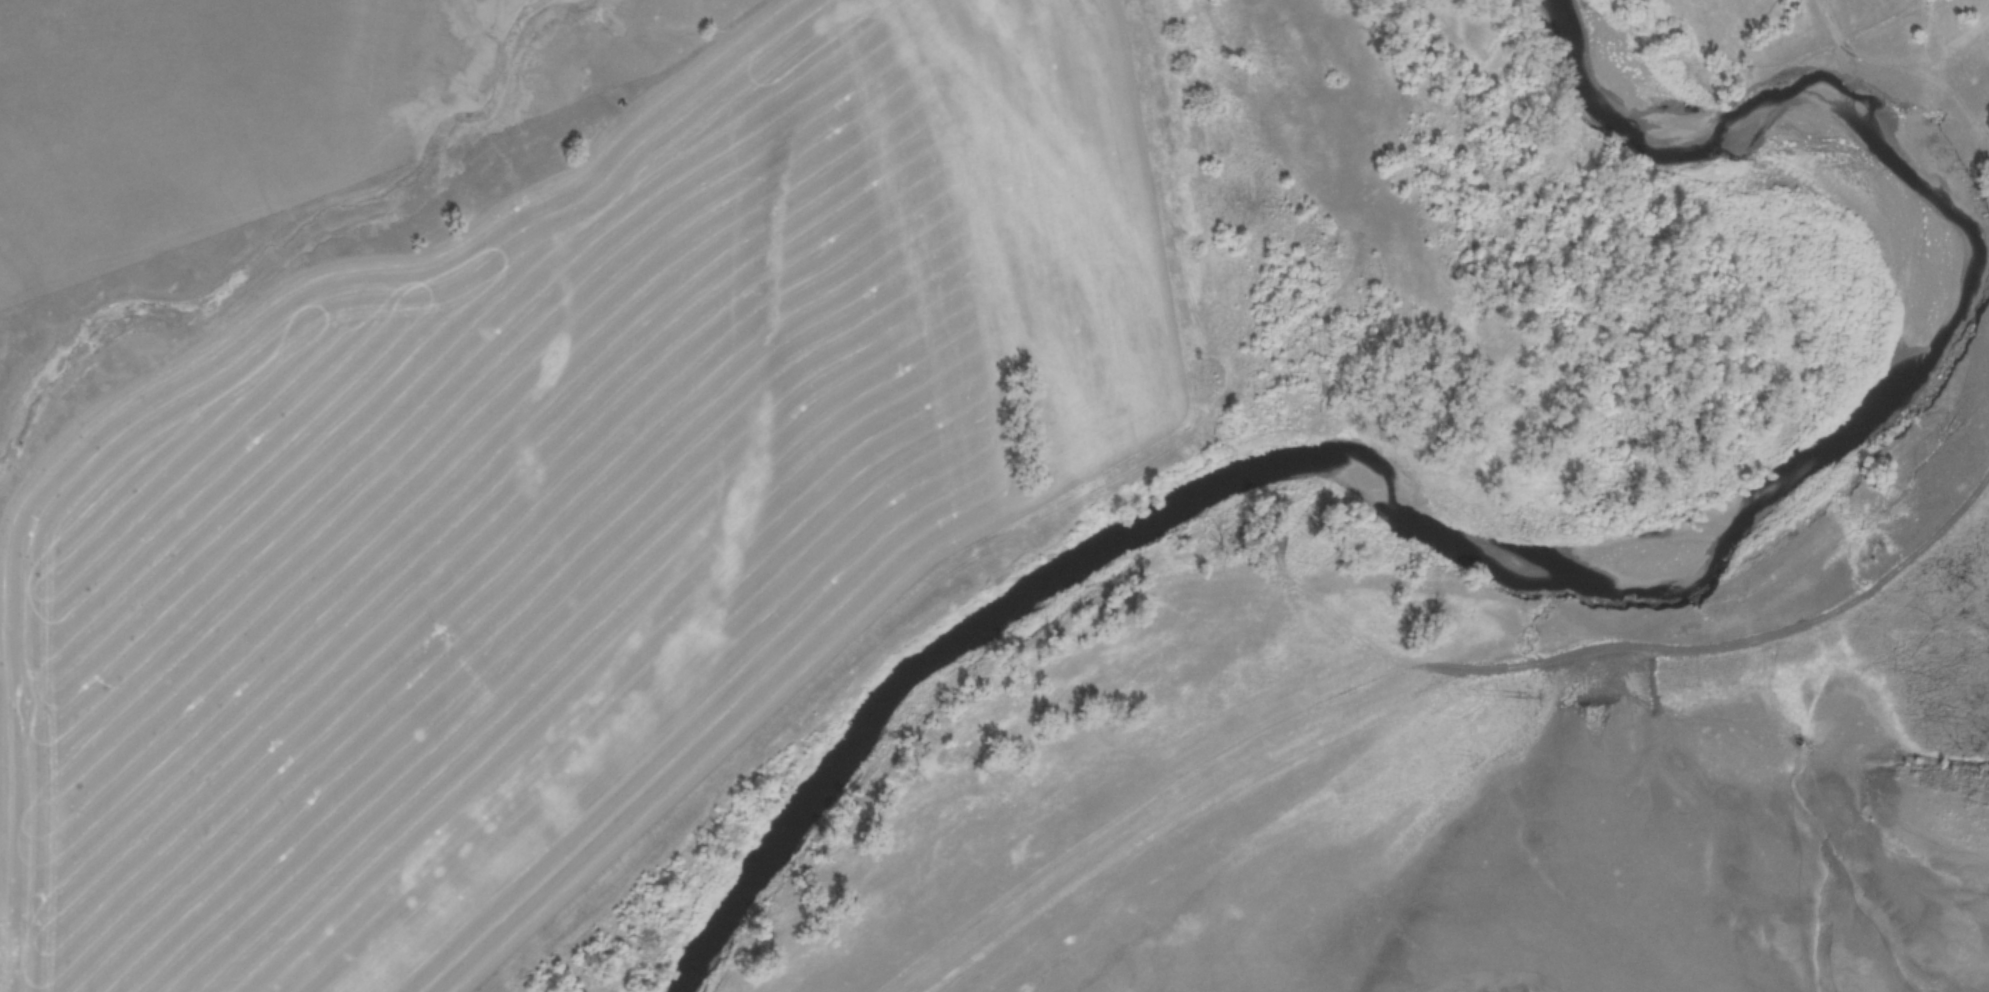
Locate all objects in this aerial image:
river: (1485, 556)
road: (1453, 678)

